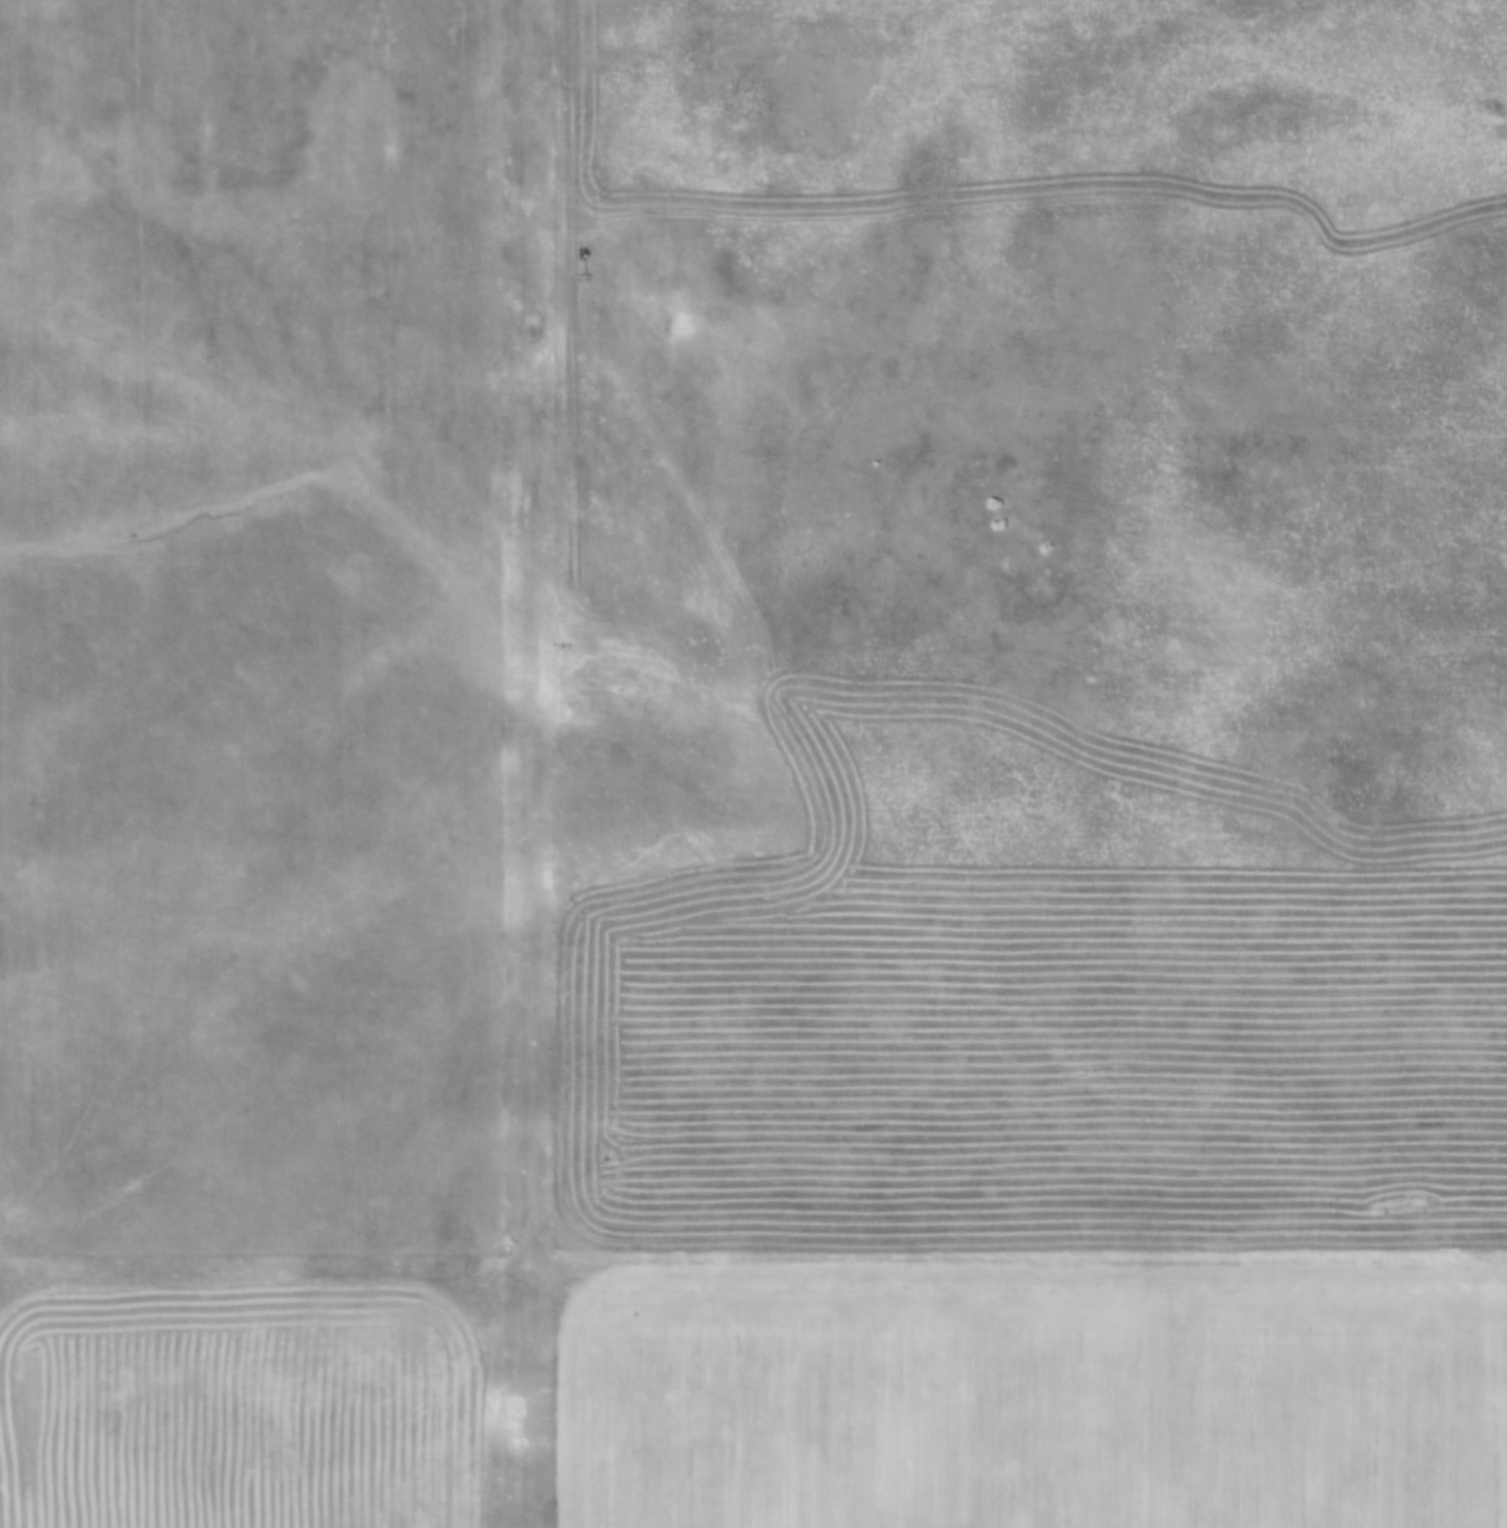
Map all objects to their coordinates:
road: (525, 763)
road: (3, 986)

